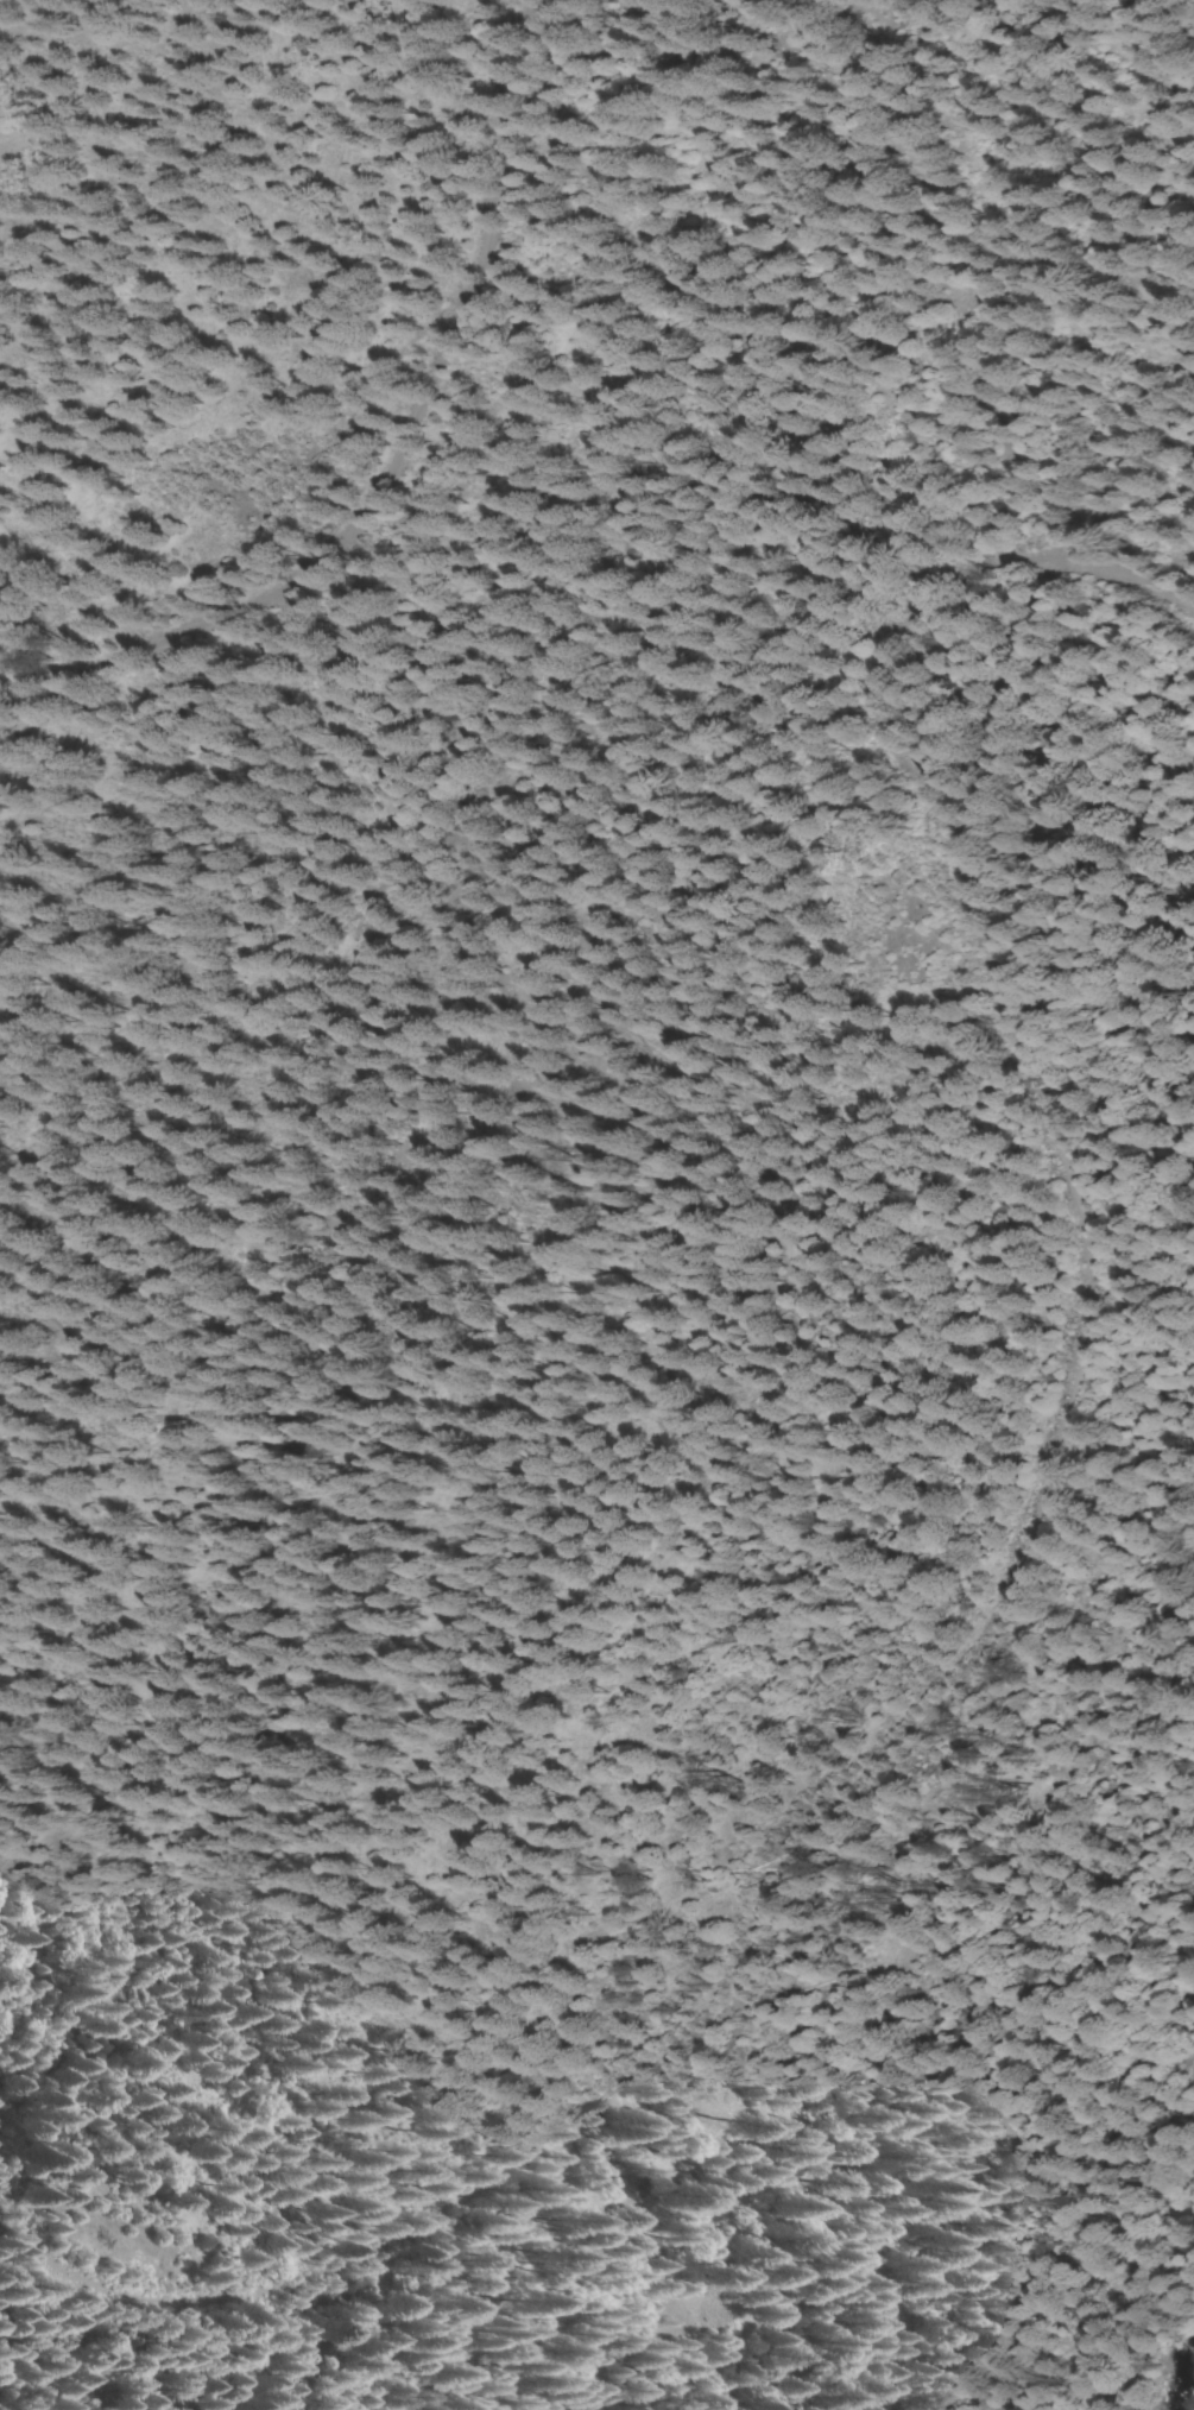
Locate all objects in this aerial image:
road: (278, 366)
river: (1183, 2397)

